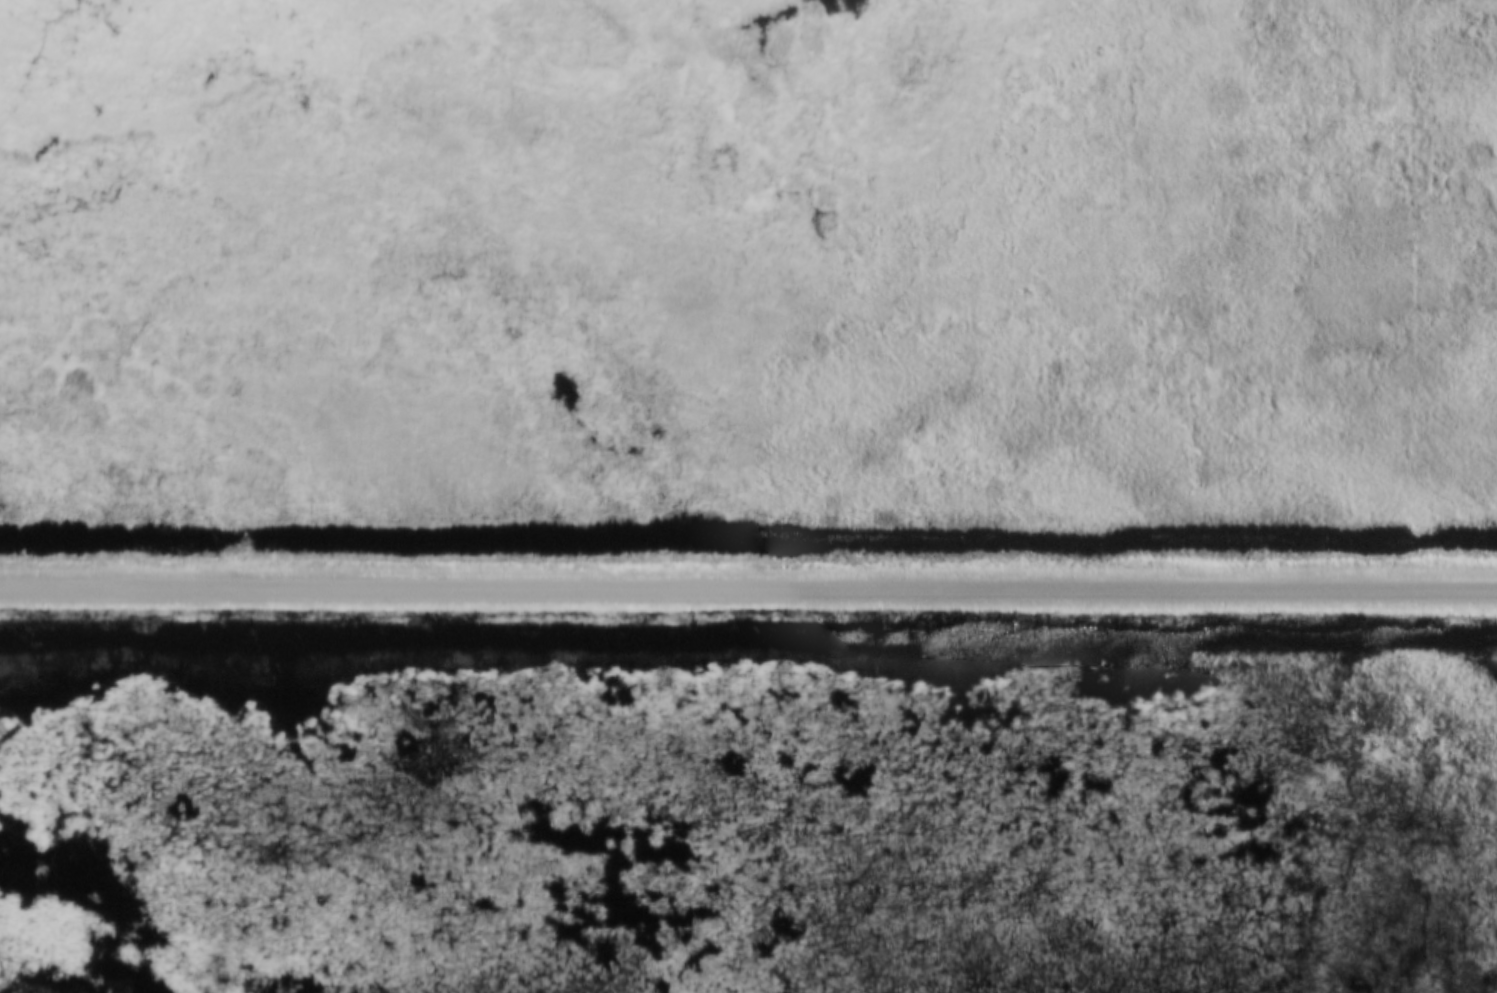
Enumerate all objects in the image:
road: (748, 588)

